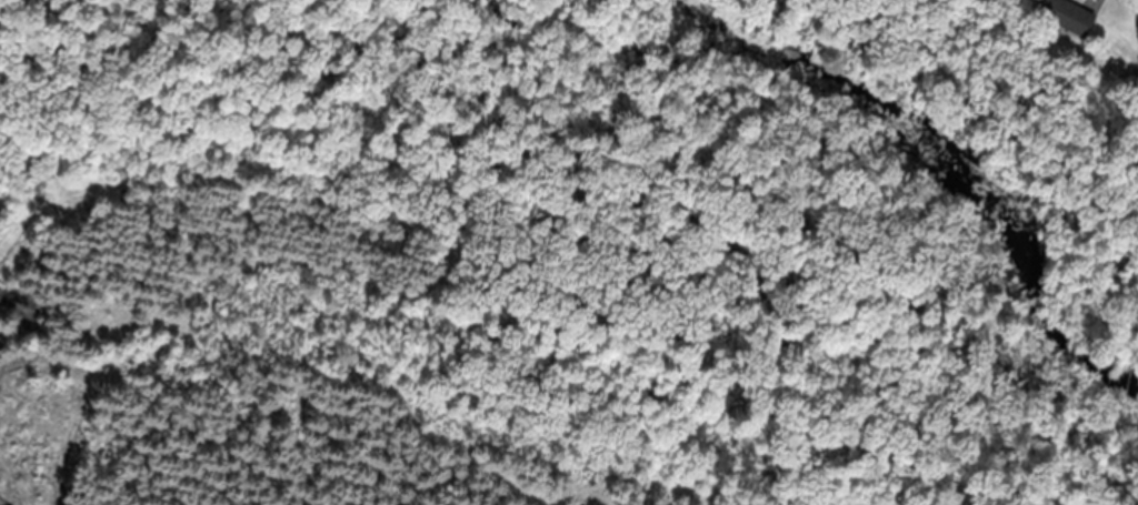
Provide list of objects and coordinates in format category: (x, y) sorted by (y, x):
building: (1071, 17)

